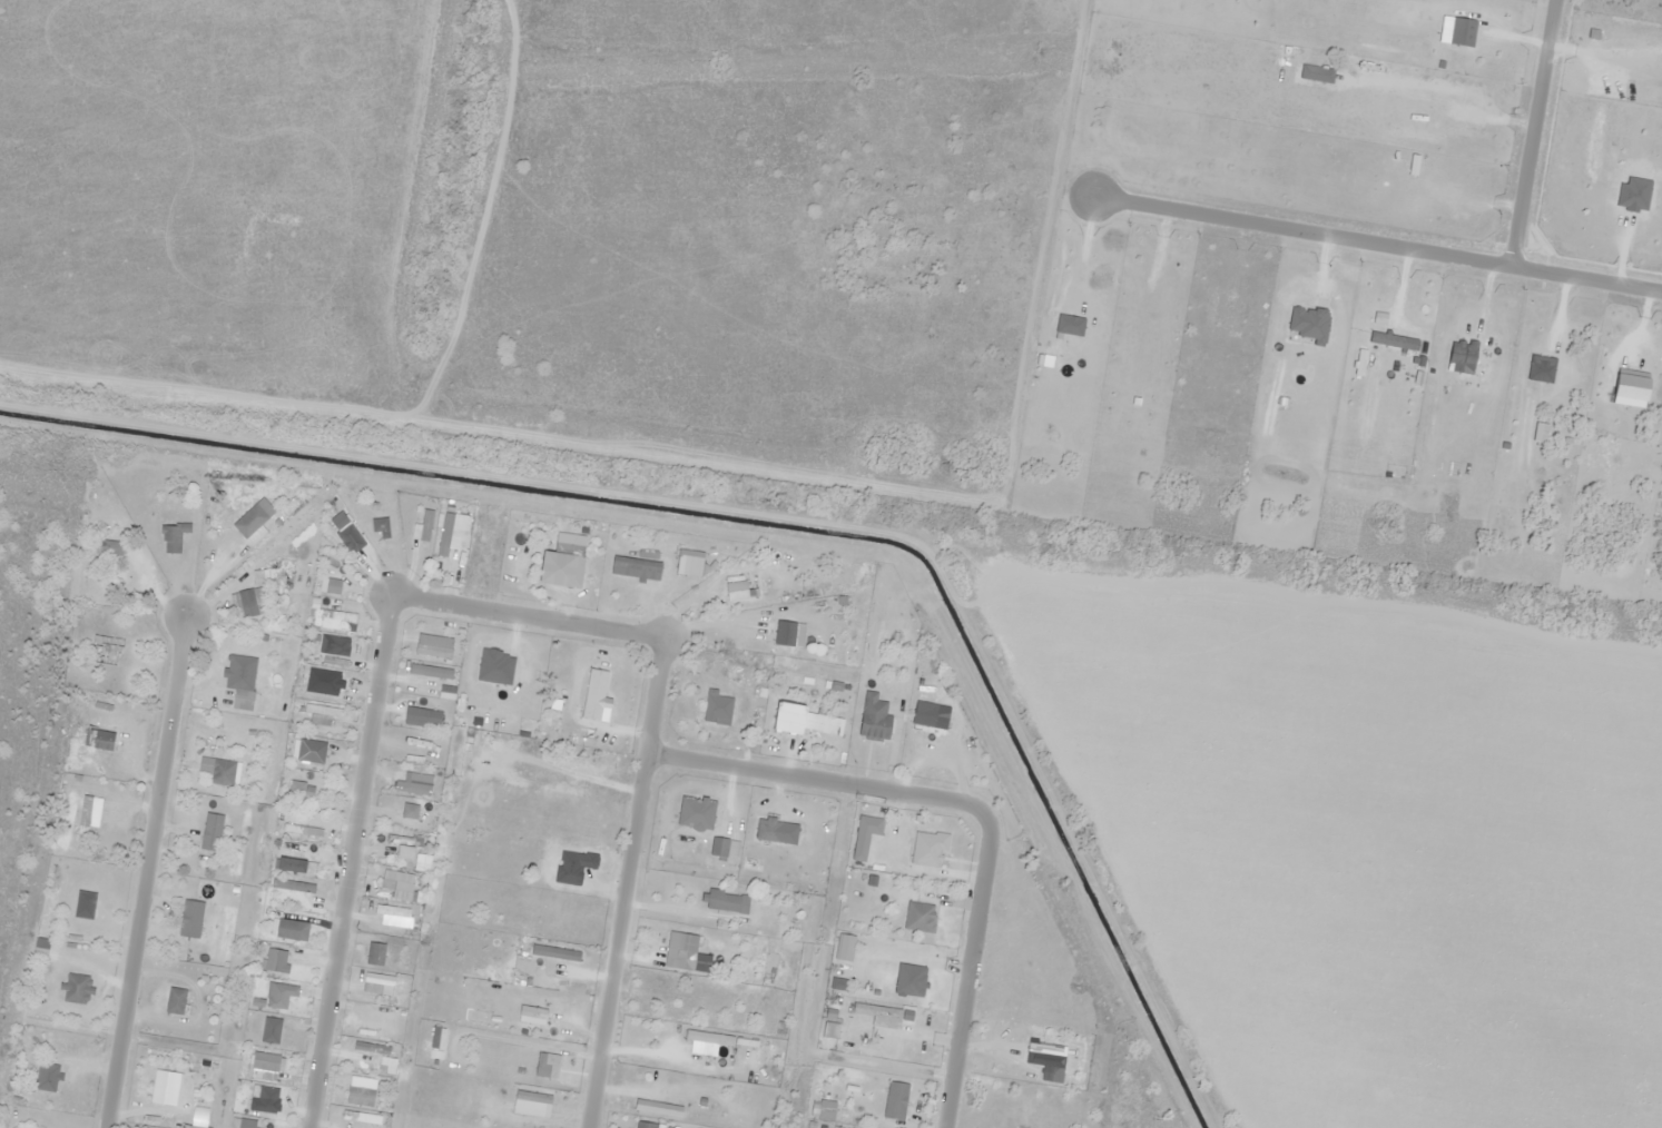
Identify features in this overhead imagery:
road: (1532, 132)
road: (490, 214)
road: (1376, 241)
road: (496, 432)
building: (389, 526)
building: (444, 533)
building: (173, 536)
building: (215, 537)
building: (108, 546)
building: (573, 567)
building: (109, 584)
building: (245, 596)
road: (503, 613)
building: (448, 642)
building: (334, 645)
building: (242, 699)
building: (873, 718)
building: (927, 724)
building: (535, 766)
building: (222, 772)
road: (972, 804)
building: (85, 820)
building: (301, 830)
building: (402, 840)
building: (927, 848)
building: (788, 851)
building: (297, 854)
building: (566, 855)
road: (146, 869)
building: (395, 885)
building: (57, 896)
building: (726, 901)
building: (391, 913)
building: (918, 917)
building: (189, 918)
building: (511, 922)
building: (41, 936)
building: (685, 950)
building: (554, 952)
building: (76, 988)
building: (682, 990)
building: (279, 995)
building: (781, 999)
building: (174, 1000)
building: (549, 1006)
building: (875, 1010)
building: (269, 1029)
building: (707, 1037)
building: (756, 1059)
building: (264, 1061)
building: (544, 1063)
building: (159, 1087)
building: (262, 1094)
building: (531, 1096)
building: (895, 1100)
building: (657, 1107)
building: (360, 1117)
building: (246, 1122)
building: (643, 1125)

